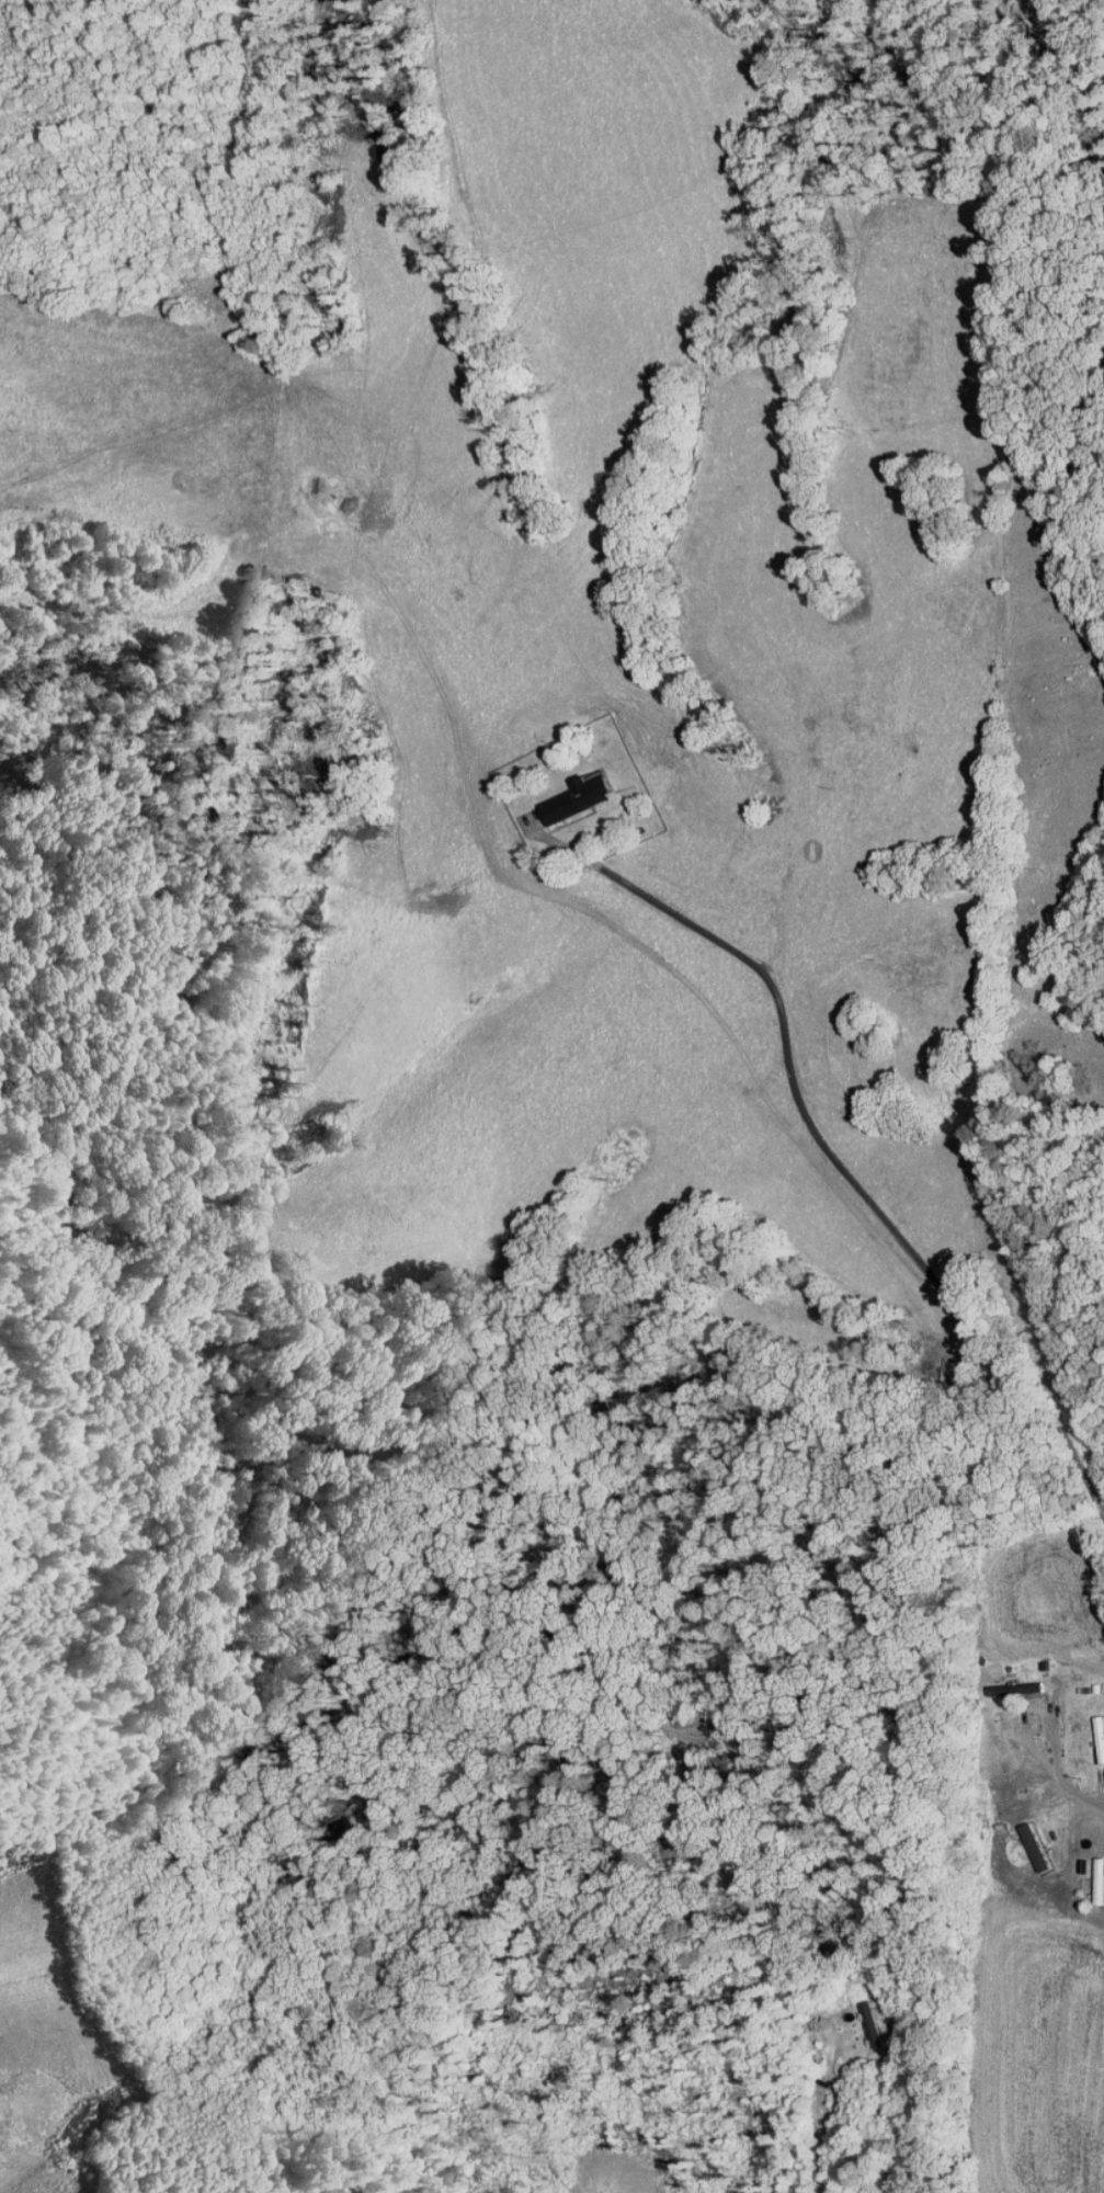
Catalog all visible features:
building: (565, 791)
road: (850, 1178)
building: (1091, 1734)
road: (1060, 1771)
building: (1025, 1840)
building: (1090, 1864)
building: (860, 2018)
road: (836, 2107)

